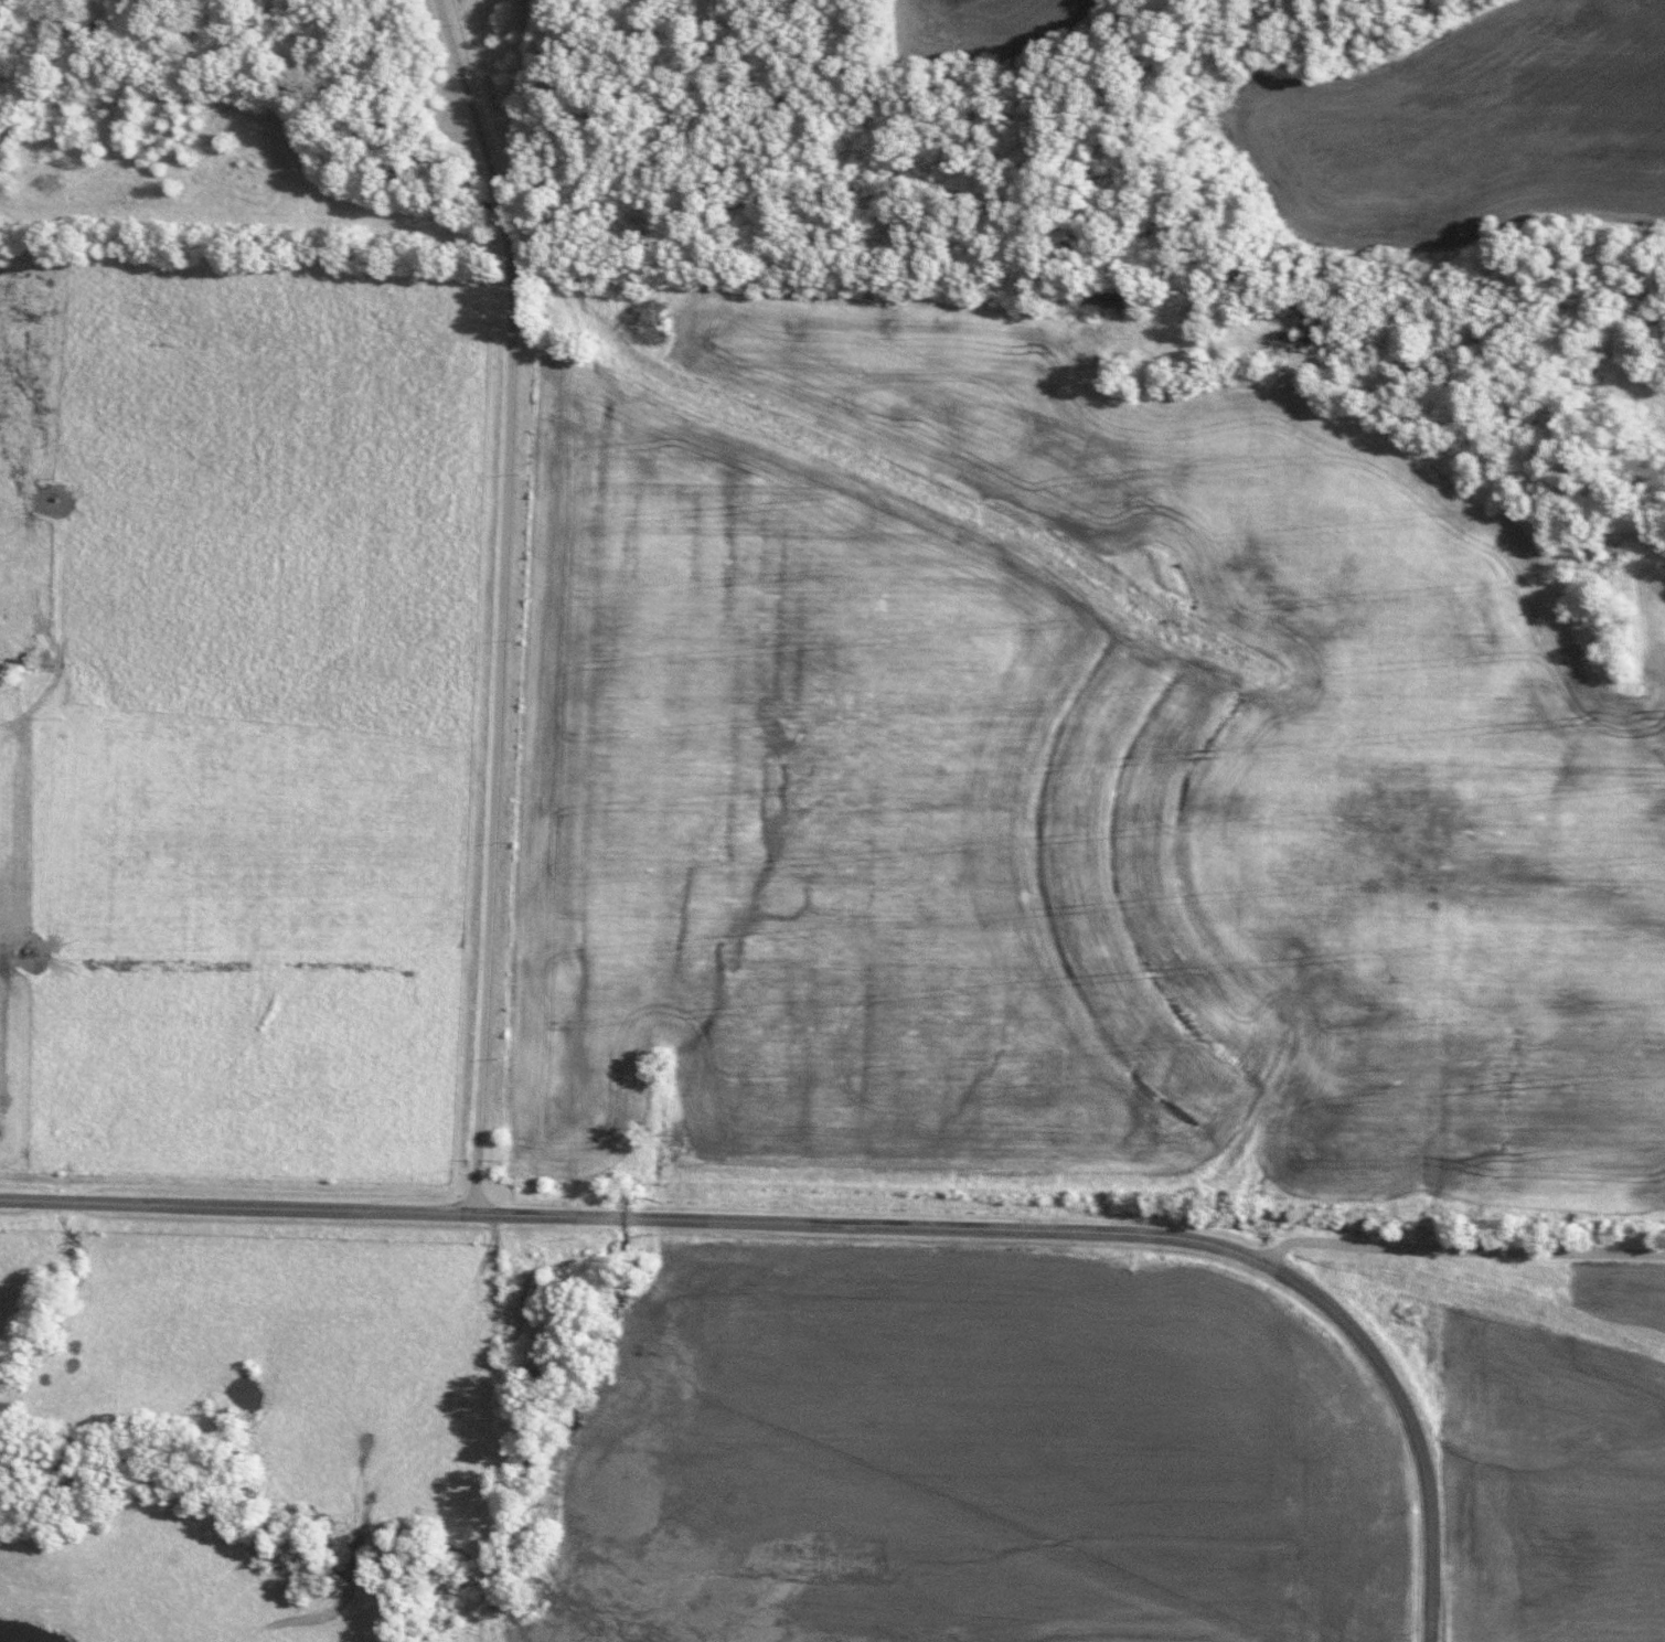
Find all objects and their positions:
road: (499, 601)
road: (856, 1224)
road: (1460, 1249)

